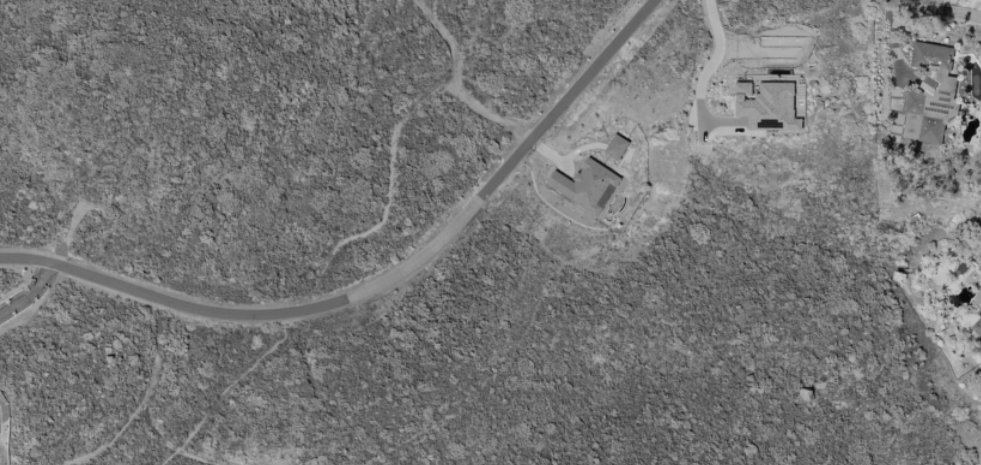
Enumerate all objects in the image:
road: (921, 10)
road: (714, 52)
road: (452, 85)
building: (931, 93)
building: (767, 106)
building: (616, 147)
building: (586, 186)
building: (980, 274)
road: (381, 283)
road: (28, 294)
building: (976, 326)
road: (141, 399)

